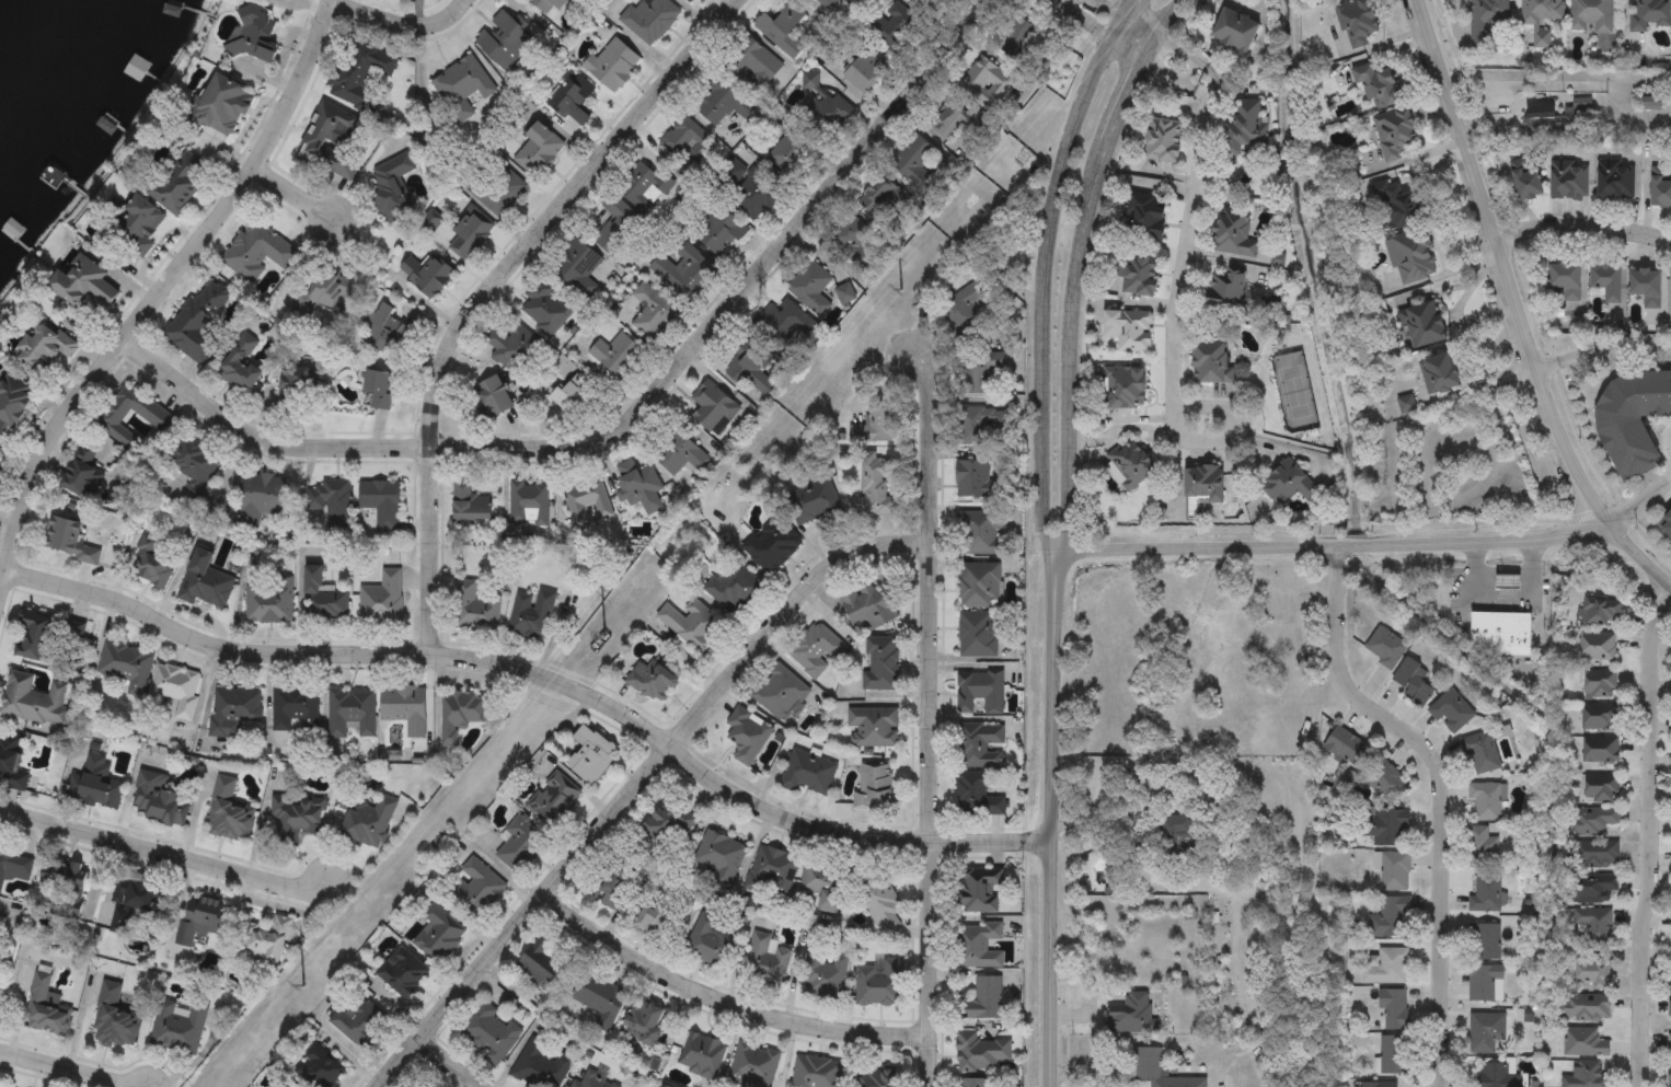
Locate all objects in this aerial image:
building: (1327, 0)
building: (689, 1)
building: (548, 5)
building: (1649, 14)
building: (1591, 16)
road: (1123, 19)
building: (1541, 19)
building: (649, 20)
building: (1487, 20)
building: (1357, 23)
road: (400, 25)
building: (895, 28)
building: (783, 30)
road: (1102, 31)
building: (1236, 32)
building: (254, 35)
building: (1013, 37)
building: (504, 42)
road: (1189, 58)
building: (613, 65)
building: (753, 66)
building: (866, 71)
building: (358, 74)
road: (1176, 77)
road: (1555, 78)
building: (988, 80)
building: (1379, 88)
building: (461, 90)
building: (573, 100)
building: (724, 104)
building: (222, 106)
building: (827, 114)
building: (947, 123)
building: (1247, 126)
building: (1395, 135)
building: (1164, 141)
building: (330, 142)
building: (687, 143)
building: (792, 146)
building: (538, 151)
building: (913, 163)
building: (1568, 180)
building: (1615, 180)
building: (1526, 183)
building: (180, 184)
building: (642, 186)
building: (392, 188)
building: (1660, 189)
building: (498, 192)
road: (292, 196)
building: (754, 196)
building: (880, 198)
building: (1398, 205)
building: (1145, 218)
building: (618, 226)
building: (138, 227)
building: (718, 231)
road: (1581, 232)
building: (850, 233)
building: (1233, 235)
building: (468, 238)
building: (257, 251)
building: (1411, 257)
building: (576, 266)
road: (1076, 268)
road: (1046, 269)
building: (684, 273)
building: (428, 277)
building: (1141, 277)
building: (1565, 280)
building: (1607, 282)
building: (84, 286)
building: (1646, 287)
road: (488, 289)
building: (810, 289)
power tower: (901, 290)
building: (325, 292)
building: (844, 292)
road: (158, 296)
road: (1513, 307)
building: (965, 308)
building: (545, 310)
building: (652, 312)
building: (201, 317)
building: (1422, 324)
building: (790, 326)
road: (1173, 329)
building: (1129, 332)
building: (385, 333)
building: (511, 347)
road: (1602, 348)
building: (43, 350)
building: (616, 356)
building: (1212, 365)
building: (241, 366)
building: (750, 366)
building: (563, 367)
building: (980, 373)
building: (1439, 374)
building: (299, 384)
building: (1127, 389)
building: (379, 391)
building: (494, 397)
building: (575, 397)
building: (12, 405)
building: (714, 408)
road: (627, 416)
building: (1632, 420)
building: (130, 421)
building: (877, 424)
building: (980, 426)
road: (925, 443)
building: (678, 453)
building: (194, 459)
building: (82, 476)
building: (976, 481)
building: (1205, 484)
building: (1290, 485)
building: (638, 487)
building: (877, 487)
road: (1641, 497)
building: (261, 499)
building: (586, 501)
building: (331, 502)
building: (813, 502)
building: (470, 504)
building: (528, 505)
building: (381, 507)
building: (1664, 521)
building: (982, 533)
building: (69, 541)
building: (772, 546)
road: (1335, 547)
building: (150, 564)
building: (204, 582)
building: (1507, 582)
gas station: (1507, 582)
building: (979, 586)
building: (731, 588)
road: (1501, 594)
road: (299, 598)
building: (323, 599)
building: (268, 601)
building: (381, 601)
building: (869, 608)
building: (474, 609)
building: (1600, 611)
building: (530, 614)
building: (691, 625)
building: (1501, 632)
building: (44, 635)
building: (978, 635)
power tower: (604, 638)
building: (1598, 646)
building: (1385, 647)
building: (815, 651)
building: (880, 664)
building: (125, 666)
road: (540, 674)
building: (653, 682)
building: (1413, 682)
building: (1600, 684)
building: (174, 690)
road: (693, 692)
building: (780, 693)
building: (980, 693)
building: (34, 702)
building: (295, 709)
building: (405, 709)
building: (352, 712)
building: (1451, 712)
building: (233, 713)
building: (460, 714)
building: (1600, 717)
road: (911, 725)
building: (873, 727)
building: (746, 735)
building: (980, 745)
building: (1347, 745)
building: (1601, 750)
building: (1482, 753)
building: (591, 755)
building: (11, 763)
building: (808, 774)
building: (1385, 778)
road: (636, 784)
building: (875, 786)
building: (1601, 788)
building: (97, 793)
building: (977, 795)
road: (1442, 797)
building: (159, 799)
building: (1487, 800)
building: (554, 802)
building: (227, 812)
road: (927, 814)
building: (296, 817)
building: (1601, 817)
road: (1047, 822)
building: (368, 825)
building: (669, 826)
building: (1390, 826)
road: (1115, 836)
road: (1647, 841)
building: (519, 843)
building: (1483, 846)
building: (1599, 854)
road: (163, 855)
building: (719, 855)
building: (14, 865)
building: (1395, 870)
building: (772, 872)
building: (62, 880)
building: (822, 884)
building: (621, 887)
building: (1591, 887)
building: (475, 889)
building: (979, 891)
building: (1485, 892)
building: (135, 897)
building: (880, 903)
building: (1390, 917)
building: (655, 918)
building: (203, 920)
building: (1592, 925)
building: (438, 935)
building: (263, 939)
building: (1485, 941)
building: (708, 945)
building: (978, 946)
building: (767, 959)
building: (542, 964)
building: (1387, 968)
building: (402, 973)
building: (822, 973)
building: (1591, 974)
building: (878, 983)
building: (1486, 983)
building: (1670, 983)
power tower: (301, 988)
building: (599, 1001)
building: (983, 1001)
road: (724, 1002)
building: (45, 1006)
building: (1393, 1008)
building: (1587, 1008)
building: (1670, 1014)
building: (359, 1021)
building: (644, 1021)
building: (116, 1027)
building: (177, 1027)
building: (489, 1032)
building: (1482, 1032)
building: (1584, 1042)
building: (1669, 1044)
building: (981, 1053)
building: (1392, 1054)
building: (701, 1055)
road: (447, 1064)
building: (540, 1066)
building: (752, 1066)
building: (318, 1067)
road: (68, 1069)
building: (1155, 1071)
building: (815, 1073)
road: (1085, 1075)
building: (1497, 1075)
building: (1588, 1075)
building: (877, 1077)
building: (1670, 1077)
building: (592, 1080)
building: (975, 1083)
building: (1379, 1084)

